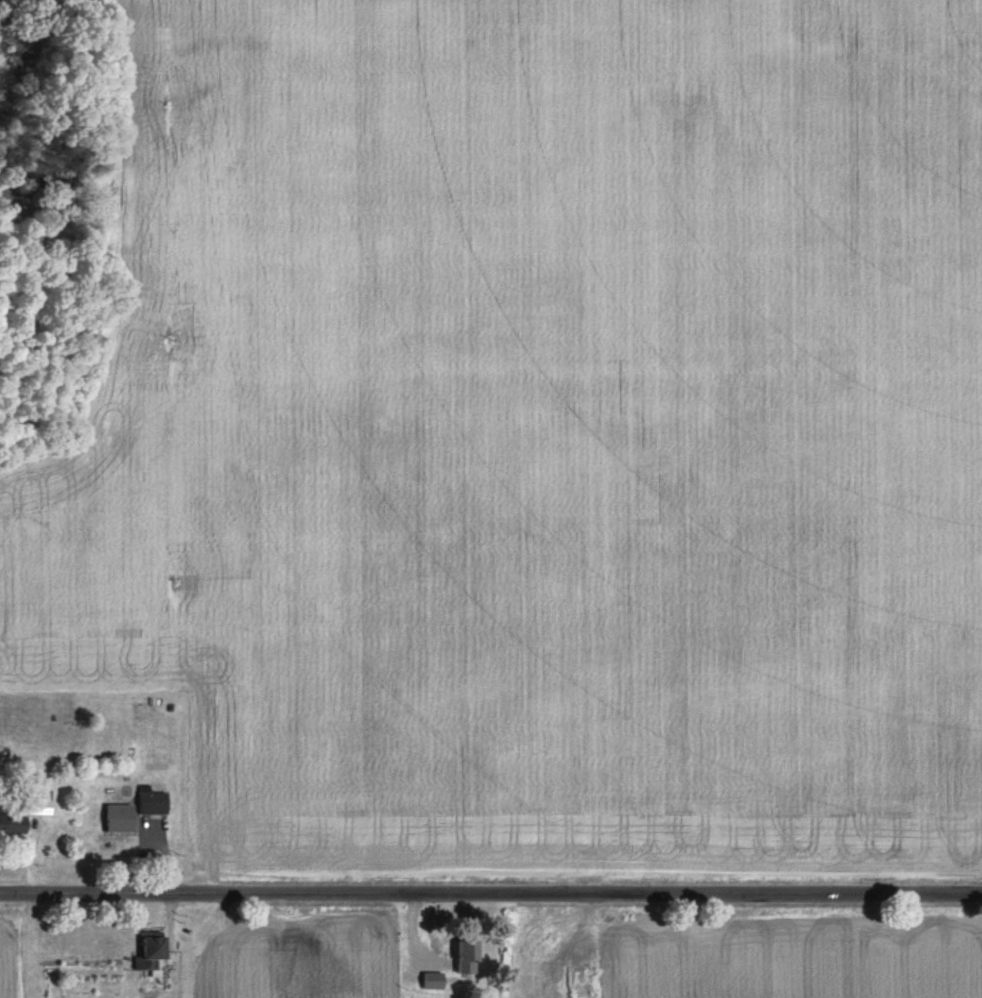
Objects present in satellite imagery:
building: (38, 803)
building: (151, 803)
building: (12, 824)
road: (490, 919)
building: (149, 953)
building: (465, 957)

